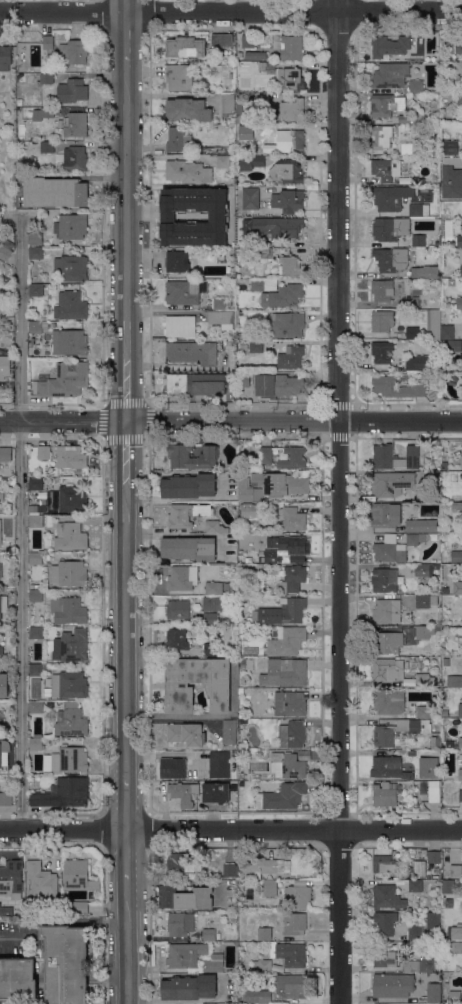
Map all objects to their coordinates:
road: (126, 5)
road: (231, 11)
road: (126, 39)
building: (221, 40)
building: (248, 41)
building: (48, 42)
building: (185, 47)
building: (389, 47)
building: (459, 47)
building: (291, 48)
building: (73, 52)
building: (256, 55)
building: (5, 57)
building: (270, 65)
building: (459, 66)
building: (391, 75)
building: (179, 77)
building: (46, 78)
building: (291, 79)
building: (416, 86)
building: (76, 90)
building: (261, 98)
building: (459, 98)
building: (228, 103)
building: (386, 104)
building: (188, 110)
building: (292, 111)
building: (47, 112)
building: (406, 118)
building: (74, 124)
building: (194, 127)
building: (199, 127)
building: (269, 128)
building: (381, 137)
building: (178, 139)
building: (292, 141)
building: (46, 147)
building: (450, 147)
building: (406, 148)
building: (420, 148)
building: (73, 158)
building: (457, 160)
building: (222, 161)
building: (253, 162)
building: (383, 169)
building: (187, 172)
building: (287, 172)
building: (451, 182)
building: (54, 192)
building: (390, 197)
building: (250, 198)
building: (288, 201)
building: (418, 210)
road: (126, 216)
building: (193, 216)
building: (219, 216)
building: (71, 226)
building: (278, 227)
building: (390, 228)
building: (35, 239)
building: (418, 240)
building: (459, 241)
building: (6, 248)
building: (35, 253)
building: (265, 253)
building: (390, 259)
building: (176, 261)
building: (291, 266)
building: (71, 267)
building: (461, 271)
building: (425, 272)
building: (263, 284)
building: (35, 290)
building: (382, 290)
building: (184, 292)
building: (283, 296)
building: (412, 302)
building: (458, 302)
building: (219, 303)
building: (70, 305)
building: (444, 317)
building: (221, 319)
building: (381, 322)
building: (287, 324)
building: (433, 324)
building: (37, 326)
building: (180, 326)
building: (446, 332)
building: (413, 333)
building: (69, 342)
building: (256, 346)
building: (454, 346)
building: (382, 351)
building: (192, 352)
building: (291, 357)
building: (418, 363)
building: (4, 364)
building: (64, 380)
building: (243, 380)
building: (199, 384)
building: (278, 384)
building: (398, 385)
road: (126, 393)
road: (63, 420)
road: (294, 420)
building: (266, 451)
building: (44, 452)
building: (29, 453)
building: (5, 454)
building: (178, 455)
building: (71, 457)
building: (395, 457)
building: (444, 457)
building: (293, 458)
building: (461, 461)
building: (444, 465)
building: (34, 474)
building: (280, 483)
building: (36, 484)
building: (386, 485)
building: (189, 486)
building: (246, 490)
building: (422, 495)
building: (68, 500)
building: (1, 501)
building: (42, 501)
road: (338, 502)
building: (457, 505)
building: (33, 508)
building: (252, 510)
building: (187, 514)
building: (386, 515)
building: (291, 517)
building: (0, 518)
building: (36, 521)
road: (19, 522)
building: (421, 525)
building: (214, 526)
building: (0, 532)
road: (180, 534)
building: (70, 536)
building: (415, 538)
building: (190, 548)
building: (287, 549)
building: (389, 549)
building: (261, 552)
building: (36, 557)
building: (456, 557)
building: (248, 559)
building: (261, 559)
building: (444, 559)
building: (437, 566)
building: (423, 570)
building: (1, 571)
building: (70, 573)
building: (182, 578)
building: (292, 579)
building: (384, 580)
building: (457, 587)
building: (221, 588)
building: (444, 590)
building: (36, 593)
building: (243, 600)
building: (426, 601)
building: (213, 603)
building: (3, 604)
building: (178, 609)
building: (69, 610)
building: (387, 611)
building: (281, 612)
building: (209, 619)
building: (243, 622)
road: (126, 624)
building: (36, 632)
building: (424, 632)
building: (177, 639)
building: (287, 640)
building: (387, 642)
building: (71, 646)
building: (1, 649)
building: (210, 649)
building: (242, 662)
building: (37, 669)
building: (388, 670)
building: (285, 673)
building: (424, 680)
building: (454, 681)
building: (3, 685)
building: (69, 685)
building: (177, 685)
building: (240, 691)
building: (389, 701)
building: (73, 703)
building: (290, 703)
building: (50, 705)
building: (36, 707)
building: (459, 711)
building: (423, 712)
building: (240, 714)
building: (1, 719)
building: (71, 721)
building: (274, 721)
building: (230, 732)
building: (185, 734)
building: (292, 734)
building: (384, 735)
building: (434, 742)
building: (36, 743)
building: (460, 743)
building: (242, 749)
building: (249, 752)
building: (3, 757)
building: (69, 760)
building: (218, 763)
building: (180, 764)
building: (288, 765)
building: (389, 768)
building: (460, 774)
building: (434, 791)
building: (216, 792)
building: (63, 793)
building: (183, 793)
building: (384, 795)
building: (460, 796)
building: (282, 797)
building: (6, 799)
road: (230, 829)
building: (423, 851)
road: (126, 853)
building: (278, 853)
building: (434, 856)
building: (180, 864)
building: (383, 864)
building: (264, 867)
building: (229, 869)
building: (436, 871)
building: (456, 871)
building: (78, 876)
building: (11, 880)
building: (42, 882)
building: (415, 885)
building: (448, 886)
building: (270, 888)
building: (297, 896)
building: (185, 897)
building: (388, 897)
building: (77, 908)
building: (244, 908)
building: (6, 910)
building: (432, 920)
road: (83, 921)
building: (385, 922)
building: (294, 923)
building: (180, 924)
building: (459, 924)
building: (264, 933)
building: (415, 933)
building: (454, 933)
building: (208, 934)
building: (218, 936)
building: (429, 937)
road: (24, 938)
building: (195, 938)
road: (127, 940)
building: (454, 947)
building: (235, 953)
building: (289, 954)
building: (186, 955)
building: (383, 956)
building: (214, 963)
building: (66, 964)
building: (422, 965)
building: (262, 966)
building: (18, 979)
building: (393, 985)
building: (291, 986)
building: (189, 987)
building: (434, 993)
building: (256, 996)
building: (455, 997)
building: (40, 1002)

